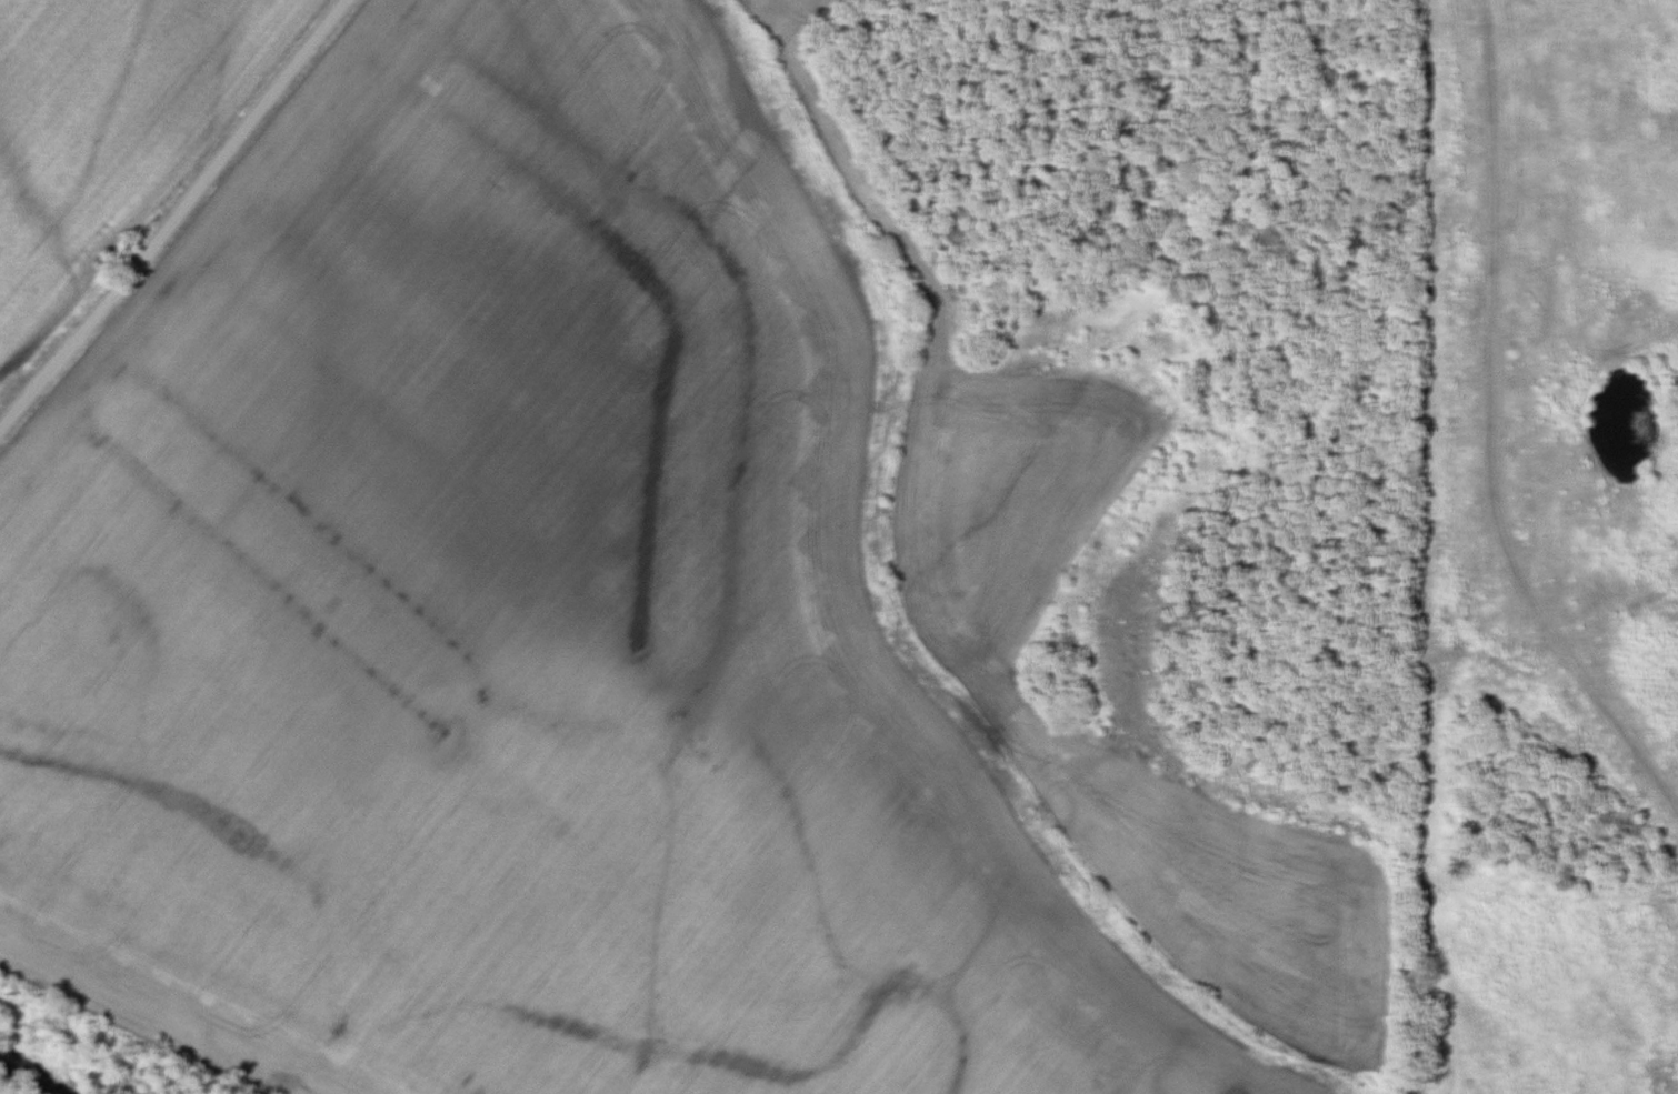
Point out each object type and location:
road: (173, 215)

